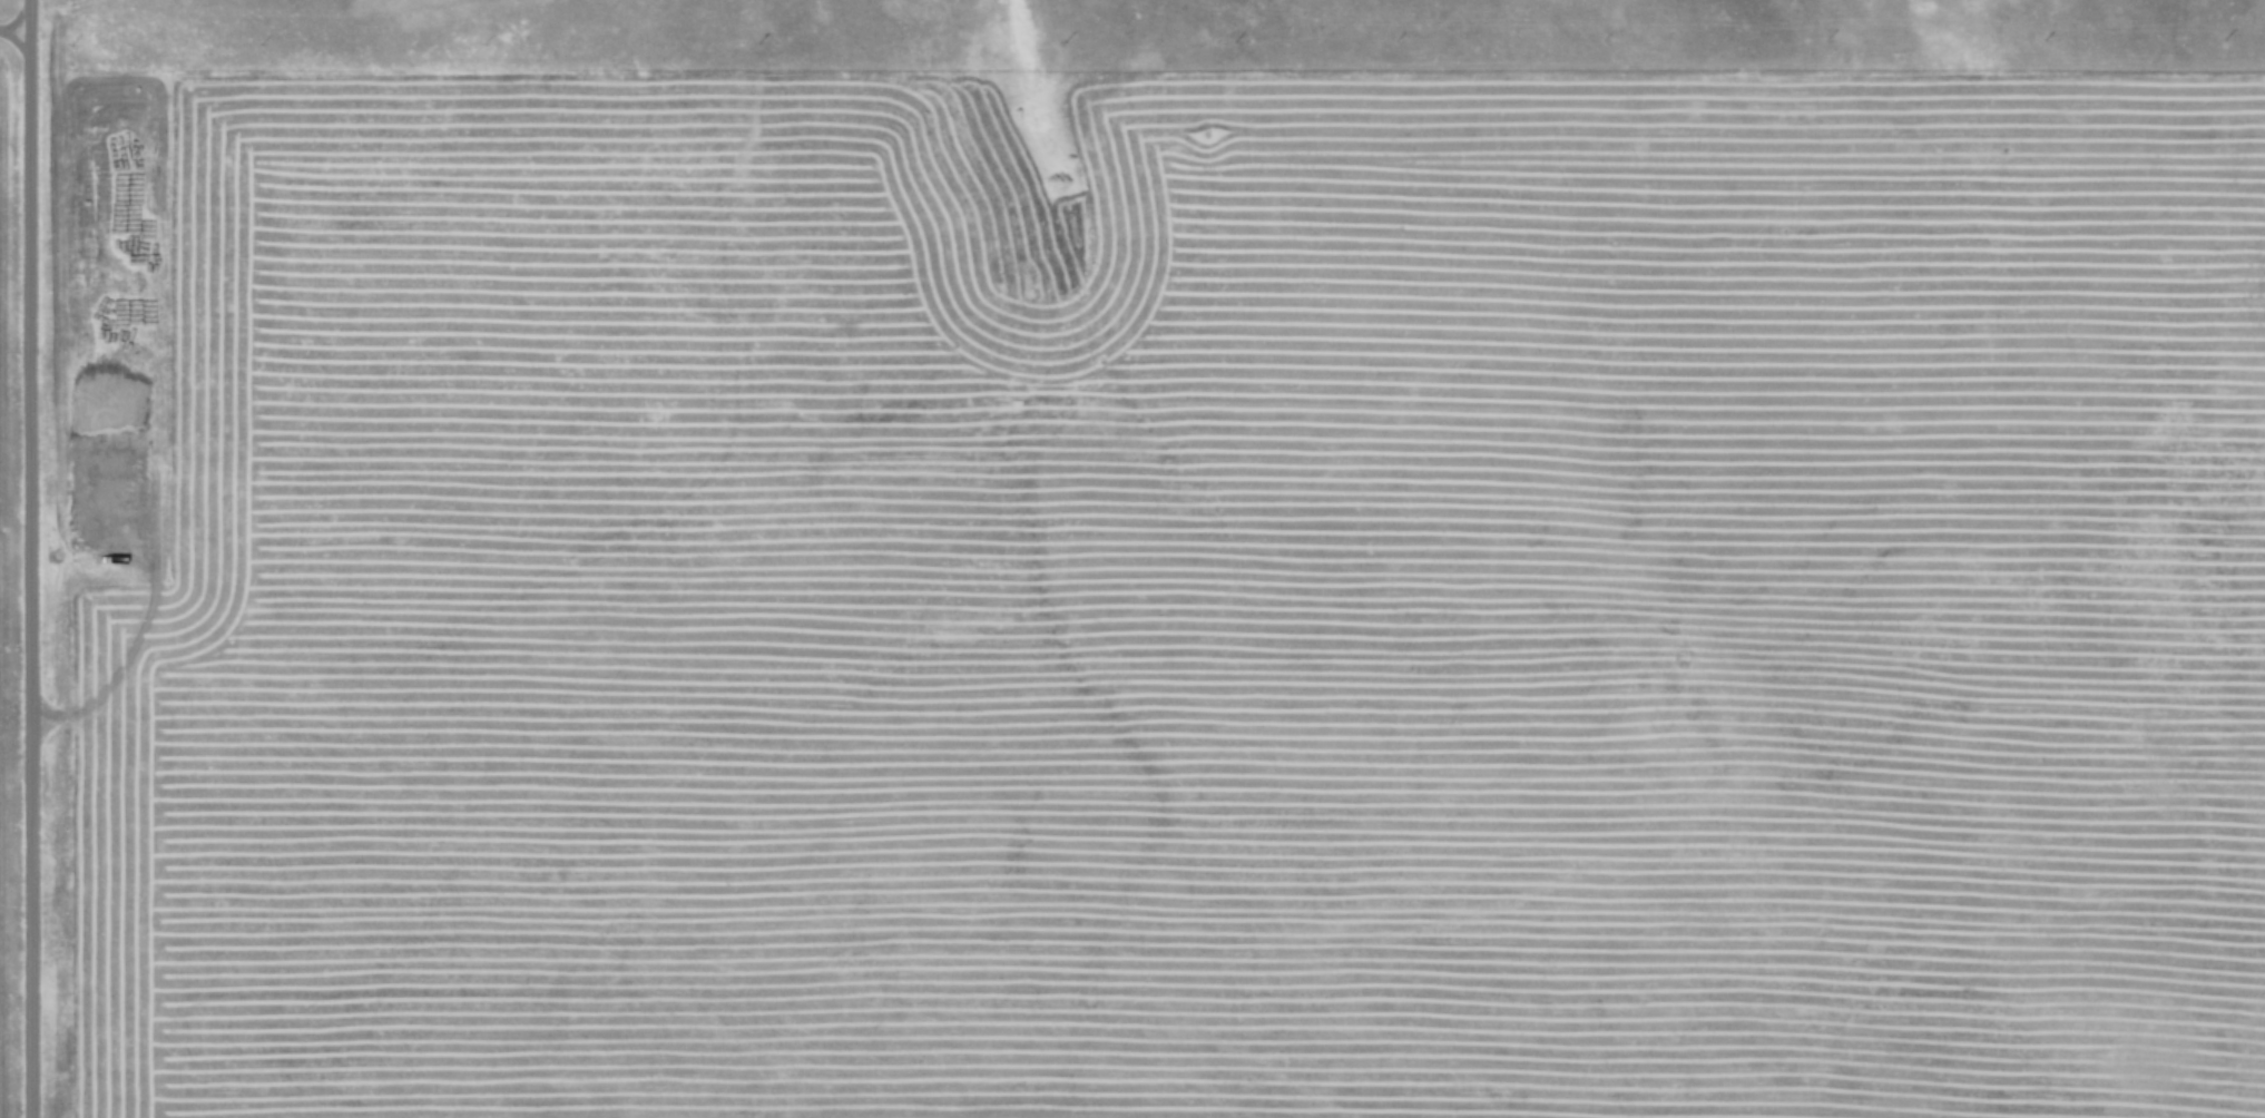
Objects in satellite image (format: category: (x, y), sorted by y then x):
road: (18, 29)
road: (38, 558)
road: (19, 710)

